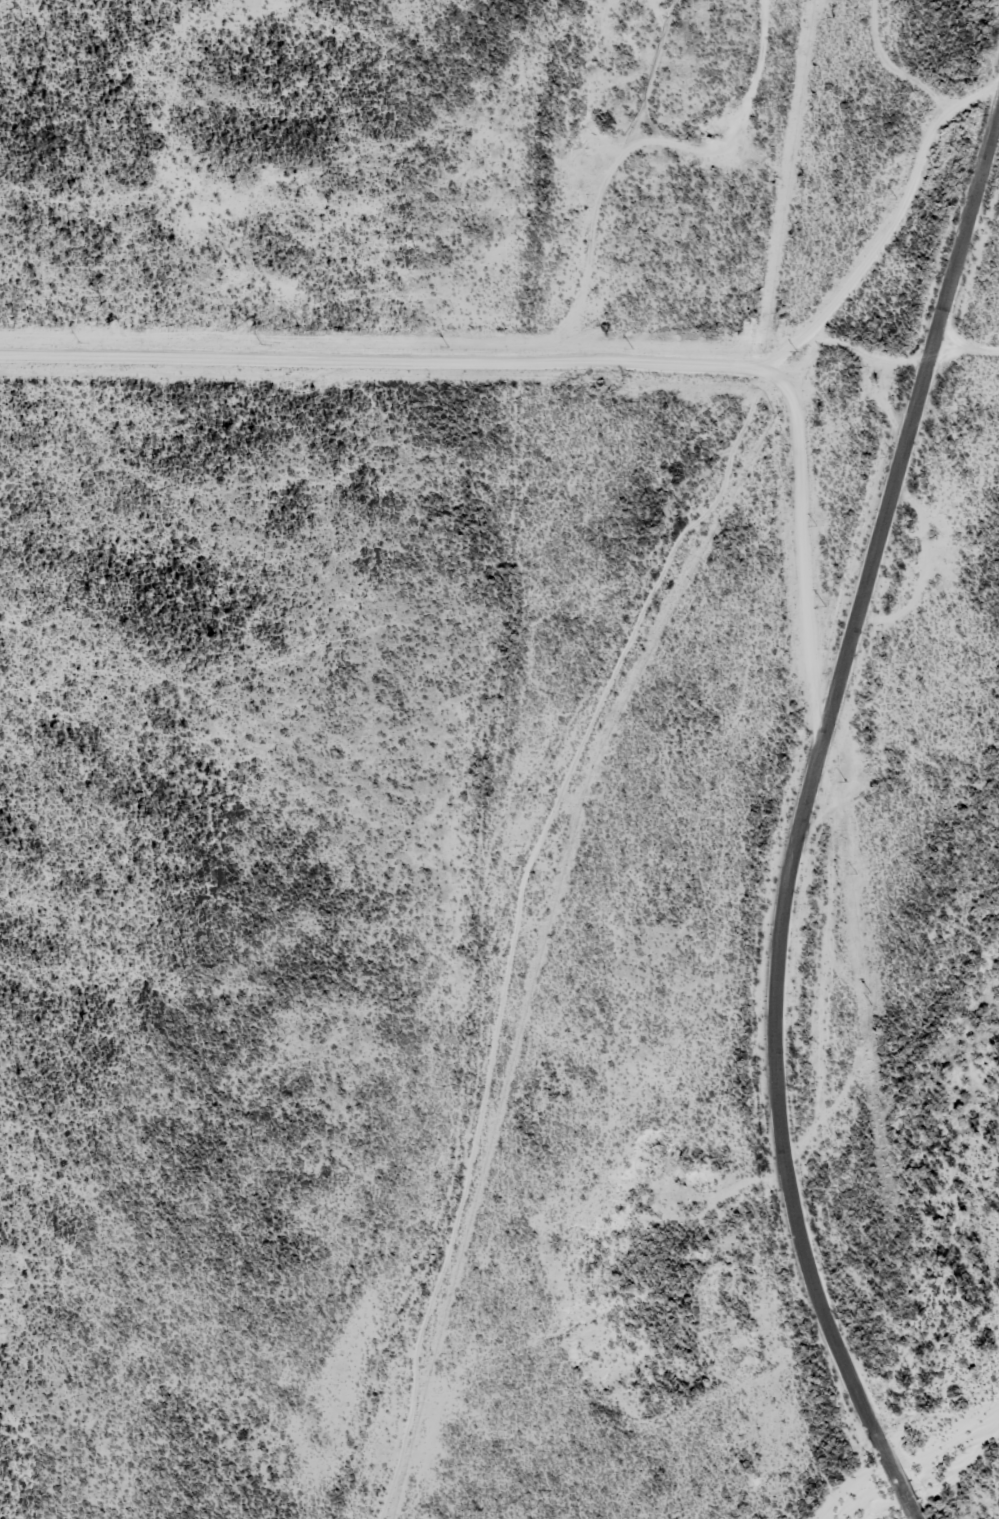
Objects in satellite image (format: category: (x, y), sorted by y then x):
road: (446, 363)
road: (791, 793)
road: (981, 1498)

